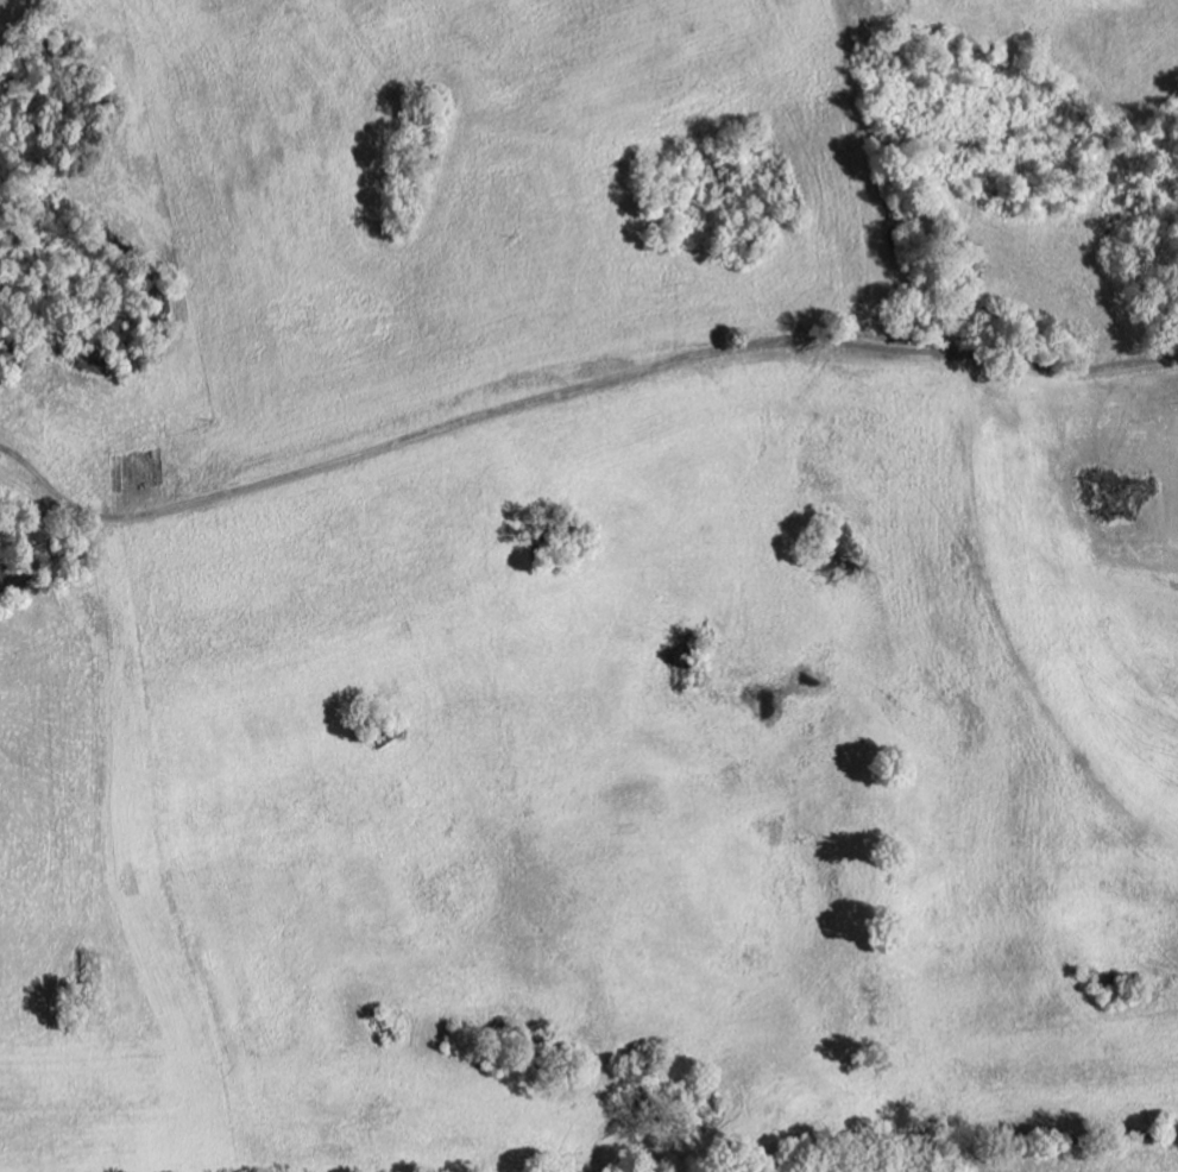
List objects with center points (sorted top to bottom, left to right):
road: (864, 121)
road: (548, 229)
road: (584, 384)

